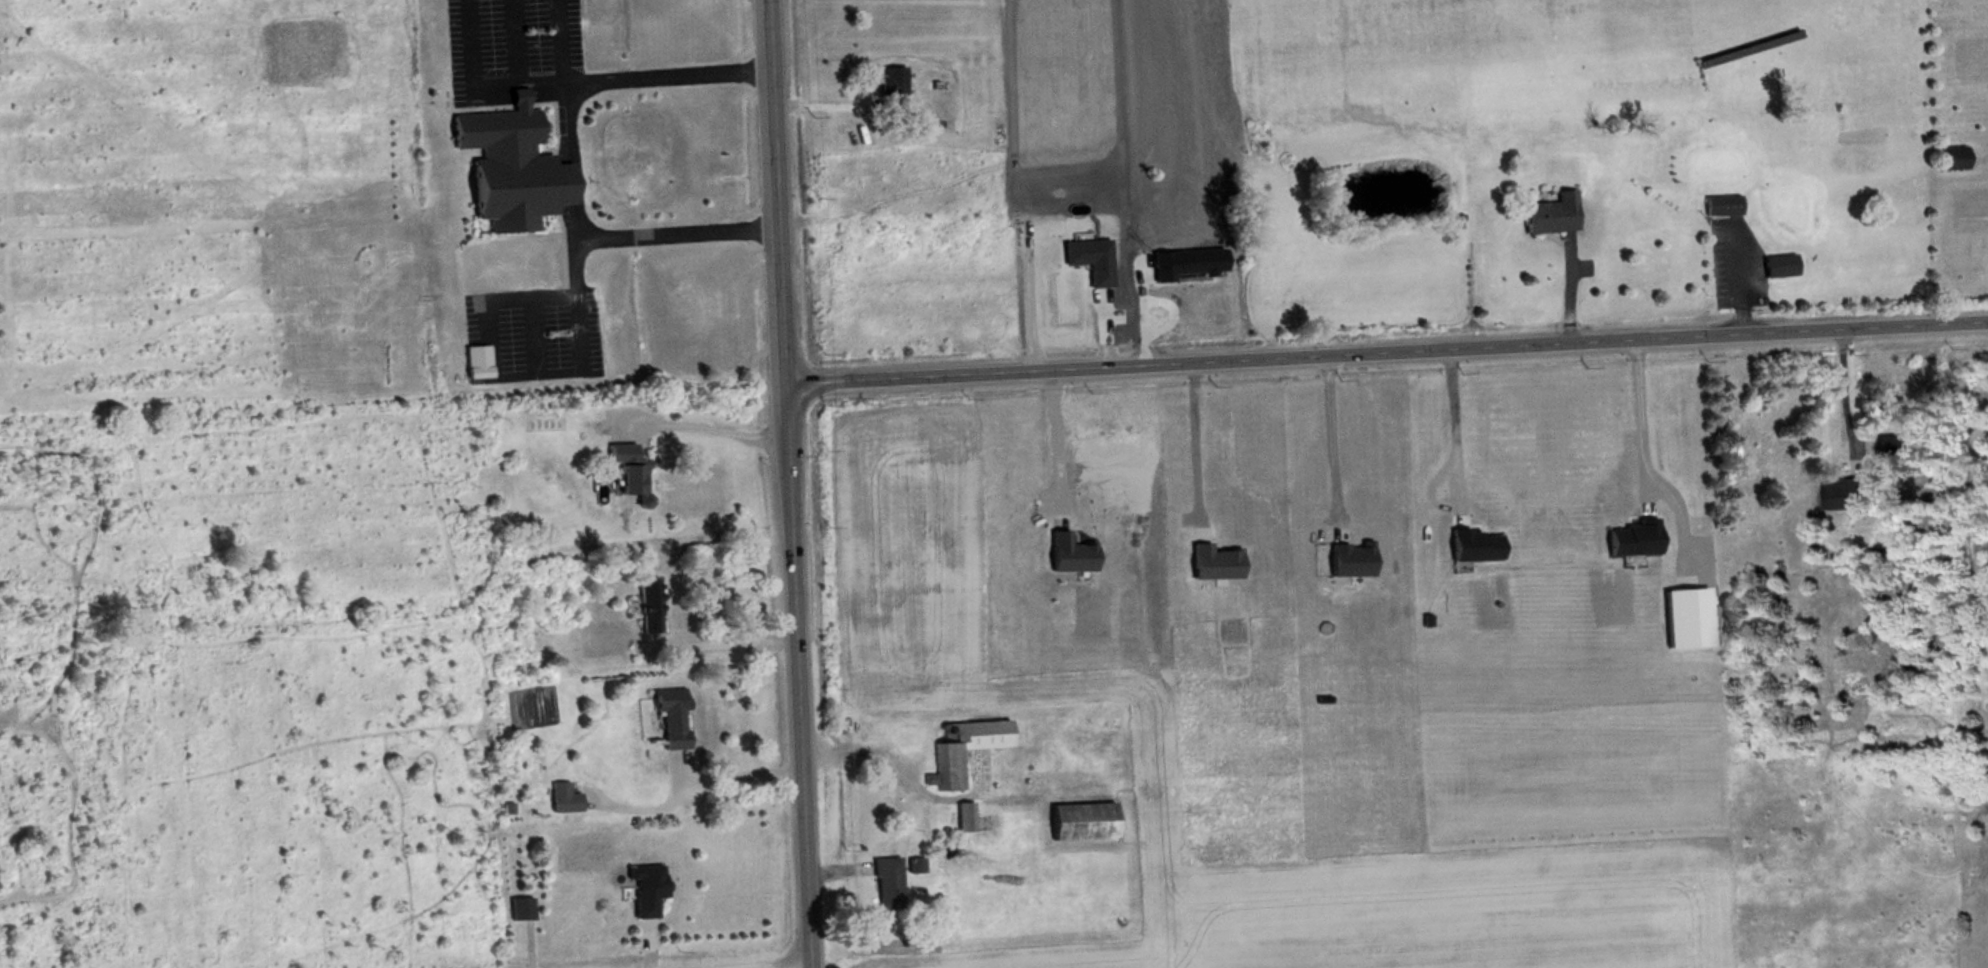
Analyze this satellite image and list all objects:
road: (564, 37)
road: (667, 67)
road: (484, 78)
building: (895, 92)
building: (1954, 160)
building: (512, 170)
building: (1725, 207)
building: (1551, 214)
road: (577, 216)
road: (676, 226)
building: (1783, 269)
road: (1384, 348)
road: (1846, 388)
road: (1640, 418)
road: (699, 426)
road: (1198, 434)
building: (1895, 447)
road: (1457, 463)
building: (630, 474)
road: (785, 483)
building: (1844, 498)
building: (650, 608)
road: (719, 646)
building: (673, 719)
building: (907, 737)
building: (950, 764)
building: (566, 800)
building: (1083, 824)
building: (889, 886)
building: (645, 892)
building: (523, 911)
road: (748, 965)

